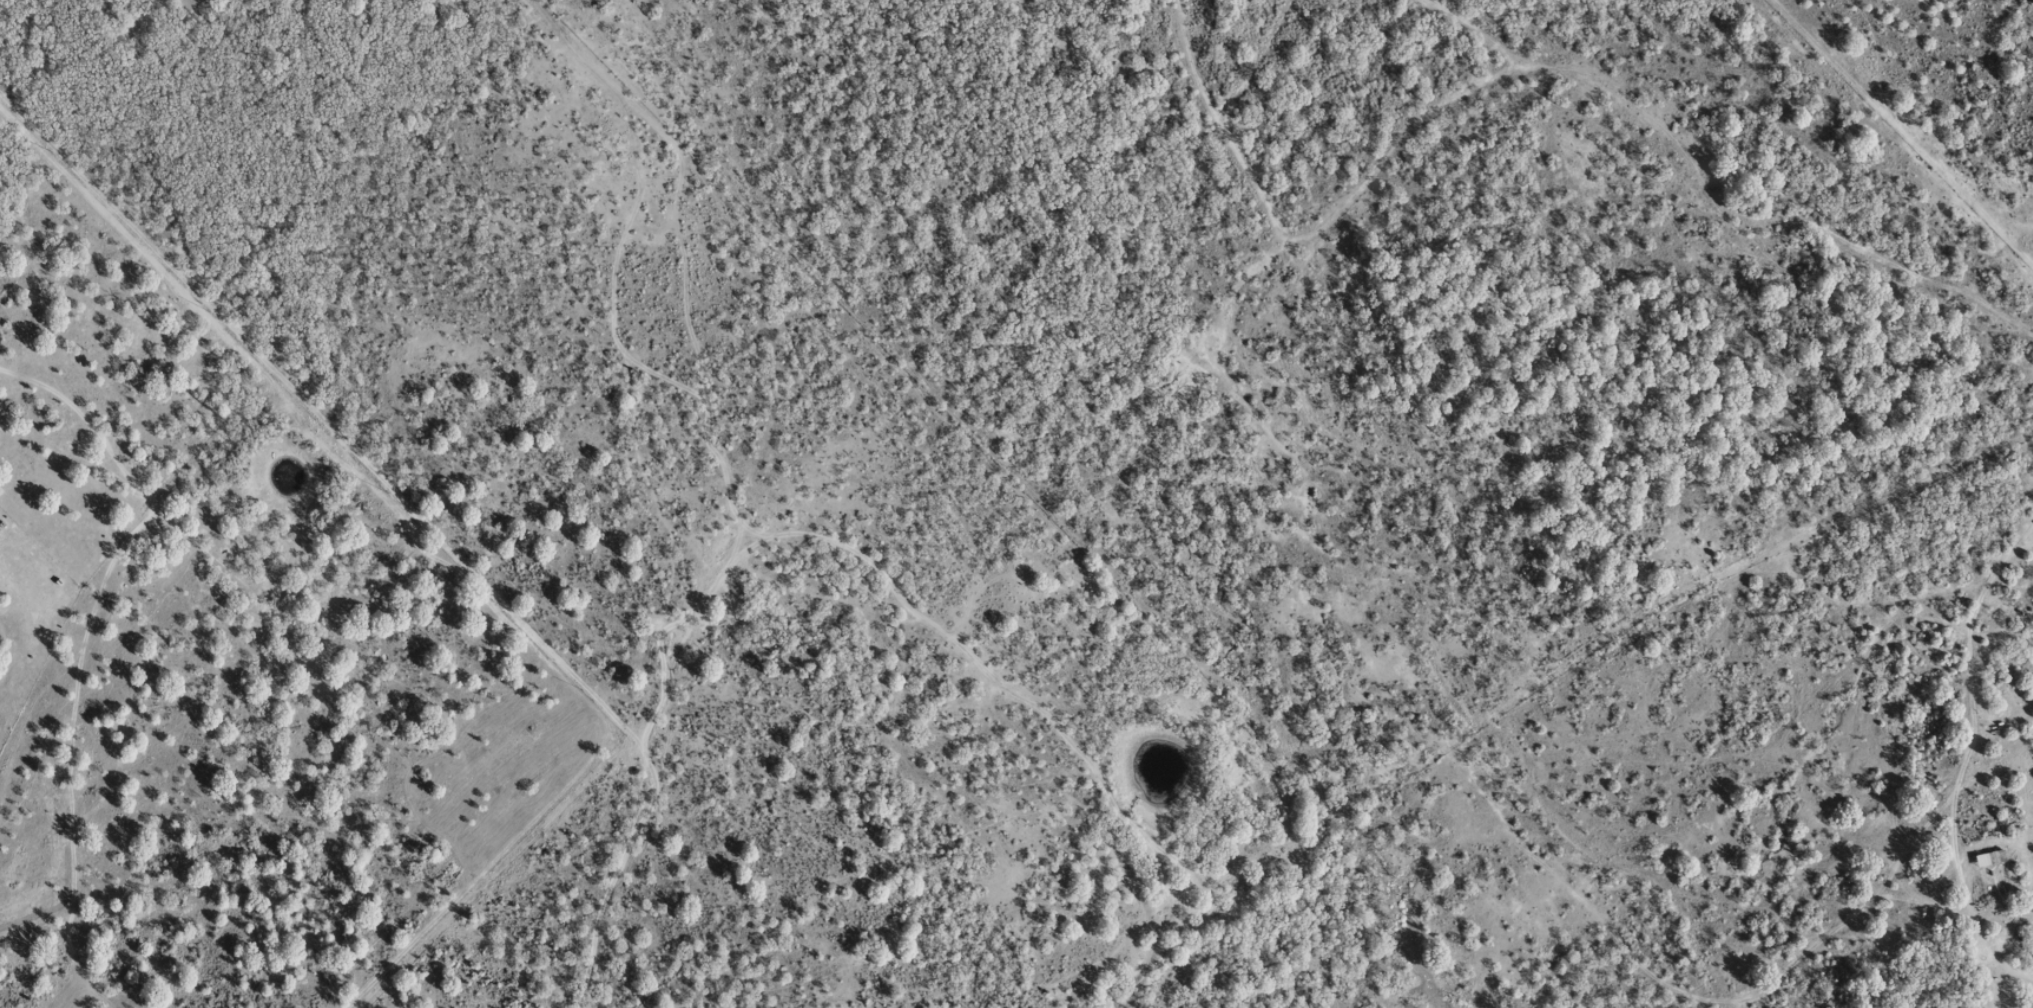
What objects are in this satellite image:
road: (1550, 99)
road: (689, 620)
road: (1476, 792)

